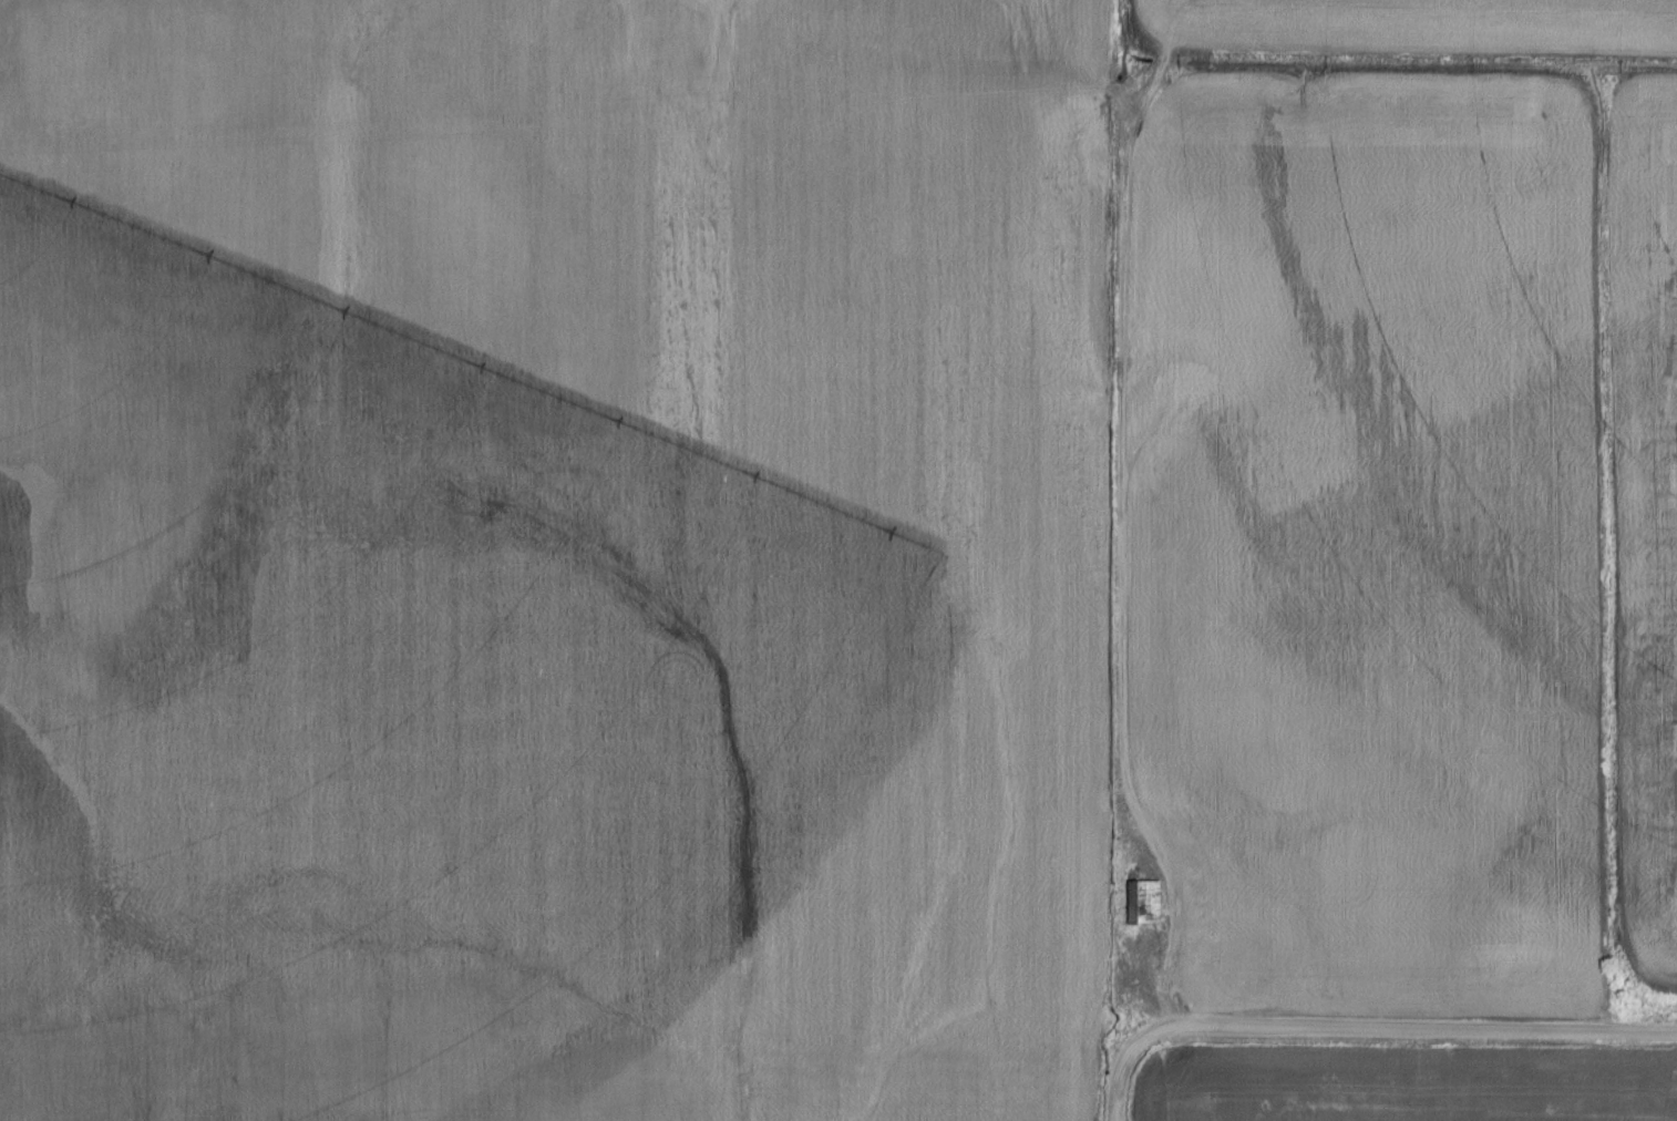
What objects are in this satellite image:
building: (1149, 903)
road: (1365, 1027)

